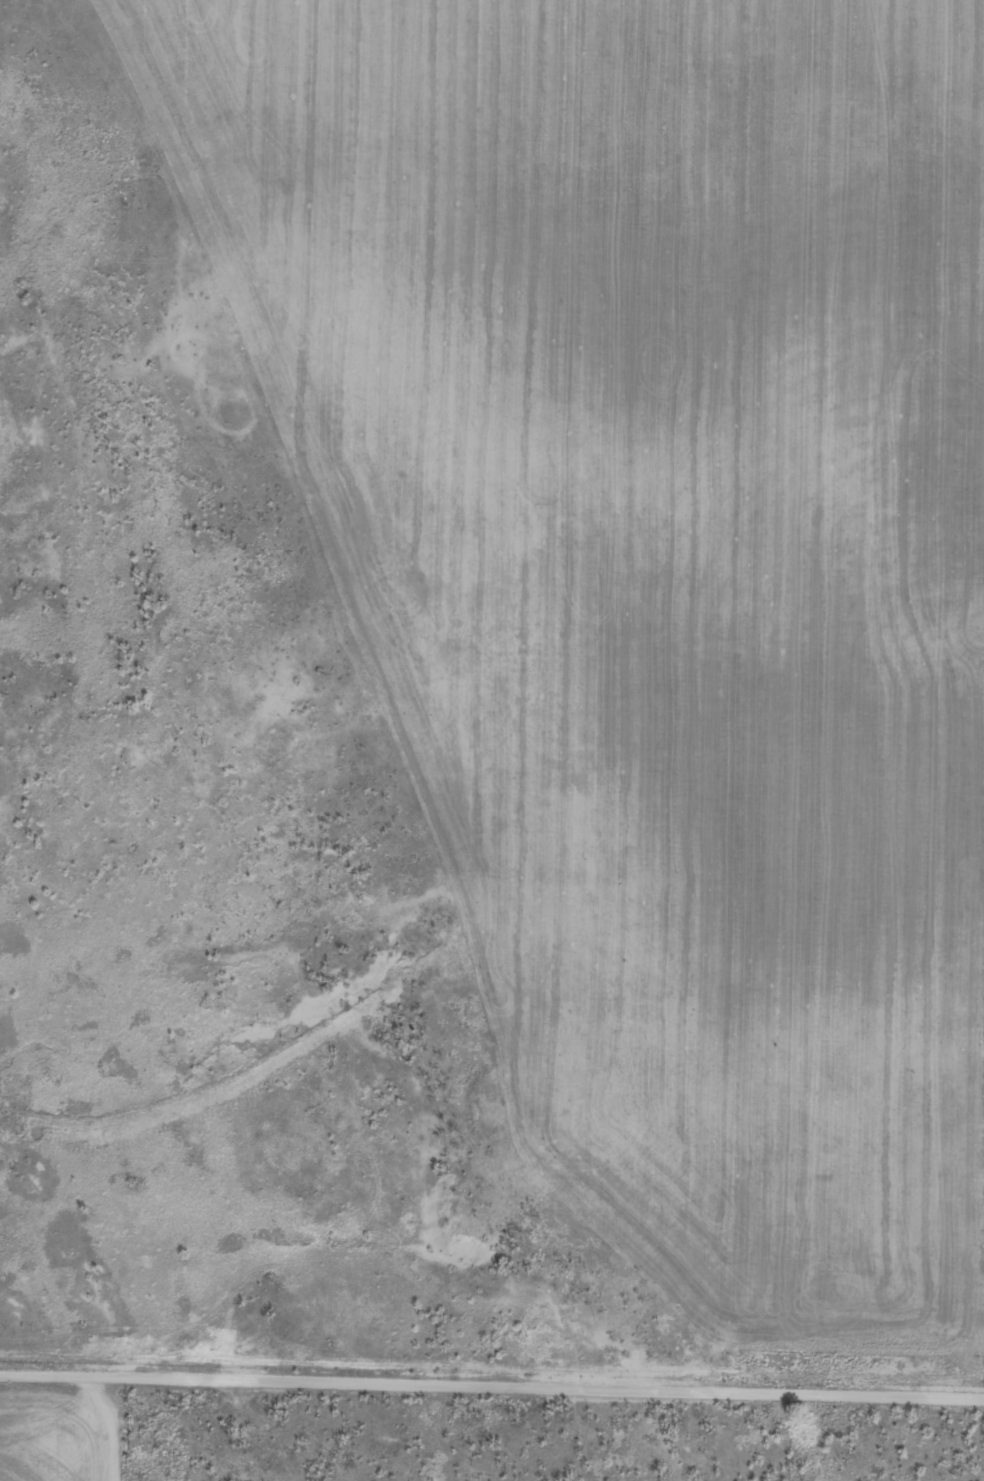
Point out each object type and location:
road: (491, 1383)

